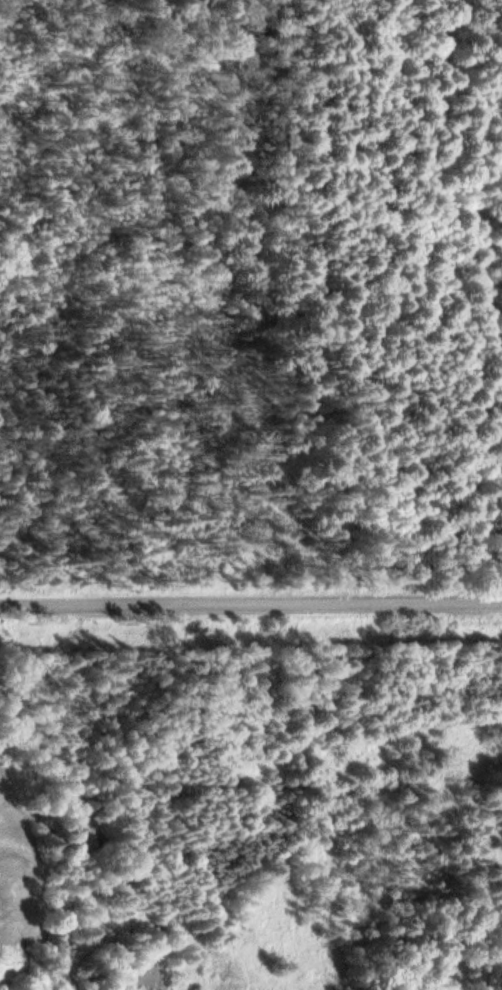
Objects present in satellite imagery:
road: (251, 610)

